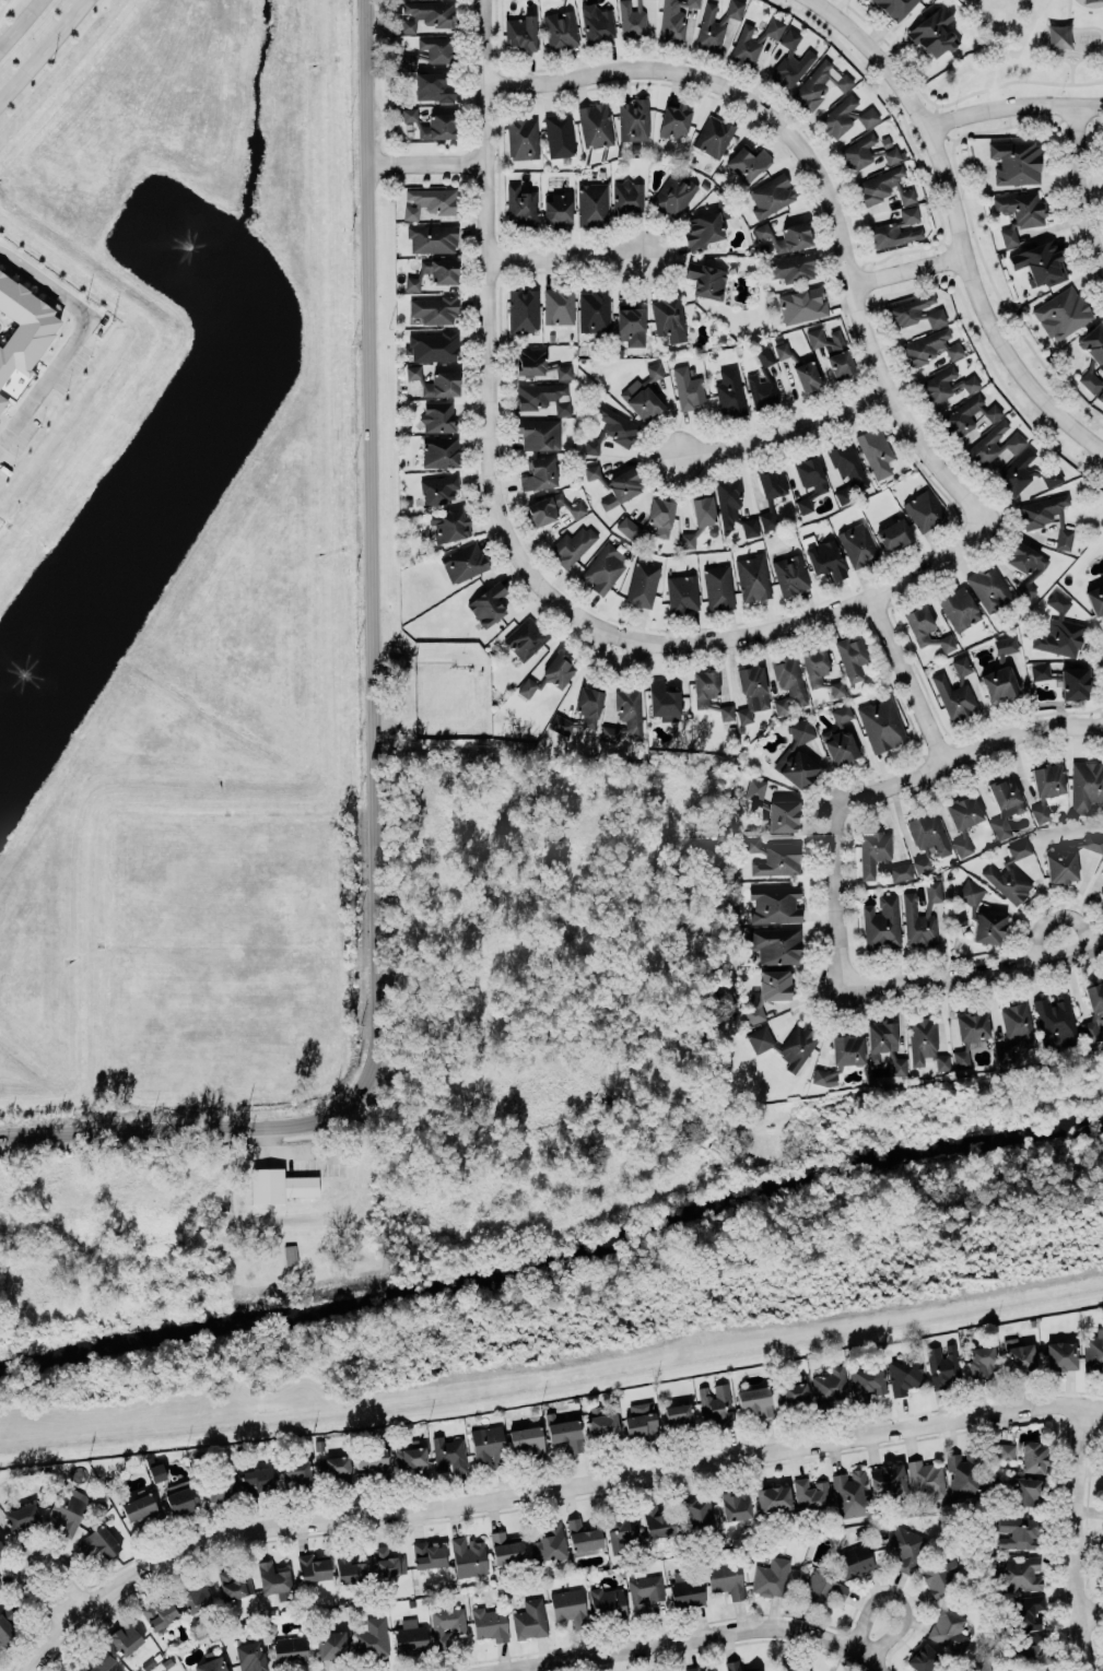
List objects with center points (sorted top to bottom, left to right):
road: (3, 5)
building: (895, 7)
road: (1068, 12)
building: (425, 14)
building: (632, 19)
building: (673, 20)
building: (598, 22)
road: (19, 23)
building: (715, 23)
road: (1046, 26)
building: (561, 27)
building: (932, 28)
building: (520, 32)
building: (754, 39)
building: (436, 48)
road: (43, 49)
road: (1072, 52)
road: (900, 54)
road: (1087, 56)
building: (408, 61)
building: (790, 62)
road: (1072, 73)
road: (1017, 80)
building: (820, 83)
building: (433, 85)
road: (1016, 109)
building: (846, 115)
building: (676, 118)
building: (633, 119)
building: (595, 125)
building: (559, 134)
building: (714, 134)
building: (523, 136)
building: (865, 151)
building: (1016, 160)
road: (425, 162)
building: (748, 162)
road: (821, 183)
building: (882, 186)
road: (1077, 189)
building: (673, 192)
building: (771, 193)
building: (627, 196)
building: (429, 201)
building: (592, 203)
building: (520, 205)
building: (559, 207)
building: (1020, 211)
building: (908, 214)
road: (958, 223)
building: (703, 230)
building: (785, 234)
building: (892, 234)
building: (433, 237)
road: (941, 238)
fountain: (190, 245)
road: (566, 257)
building: (1040, 263)
building: (793, 267)
road: (906, 268)
building: (434, 271)
road: (490, 279)
building: (706, 280)
building: (802, 304)
building: (559, 305)
building: (523, 308)
building: (434, 309)
building: (594, 309)
building: (916, 311)
building: (1063, 311)
building: (668, 318)
building: (22, 320)
building: (632, 323)
road: (69, 340)
building: (1093, 342)
building: (432, 345)
building: (930, 346)
building: (782, 350)
building: (838, 353)
building: (539, 364)
building: (412, 372)
building: (807, 376)
building: (762, 380)
building: (1090, 380)
building: (970, 383)
building: (442, 385)
building: (937, 386)
building: (688, 387)
building: (644, 391)
building: (729, 392)
building: (1, 395)
building: (542, 396)
building: (1101, 396)
building: (438, 416)
building: (966, 416)
road: (786, 427)
building: (611, 429)
building: (539, 434)
building: (994, 443)
building: (876, 450)
building: (441, 451)
building: (846, 468)
building: (539, 472)
building: (1025, 472)
building: (809, 479)
building: (617, 480)
building: (438, 487)
building: (771, 492)
building: (734, 504)
building: (552, 506)
building: (924, 509)
building: (1041, 510)
building: (700, 517)
building: (652, 518)
building: (450, 526)
building: (894, 531)
building: (1063, 537)
building: (573, 544)
building: (858, 544)
building: (1025, 557)
building: (825, 558)
building: (464, 561)
building: (603, 568)
building: (790, 574)
building: (753, 576)
building: (642, 583)
building: (719, 586)
building: (988, 588)
building: (1025, 590)
building: (682, 591)
building: (1096, 597)
building: (488, 604)
building: (959, 607)
building: (919, 623)
building: (1059, 628)
road: (753, 633)
building: (525, 635)
building: (947, 643)
building: (1006, 645)
building: (852, 655)
building: (820, 669)
fountain: (25, 673)
building: (551, 673)
road: (907, 678)
building: (1064, 678)
building: (788, 683)
building: (998, 683)
building: (955, 689)
building: (709, 691)
building: (751, 692)
building: (664, 698)
building: (580, 709)
building: (625, 714)
building: (881, 723)
road: (374, 732)
building: (840, 737)
road: (967, 749)
building: (797, 753)
building: (1046, 784)
building: (1087, 784)
building: (772, 803)
building: (1004, 804)
building: (964, 810)
building: (1102, 822)
building: (927, 837)
building: (752, 844)
building: (962, 847)
building: (880, 855)
building: (777, 859)
building: (1069, 859)
building: (1102, 859)
building: (1010, 874)
road: (838, 891)
building: (1101, 892)
building: (775, 904)
road: (1057, 910)
building: (922, 914)
building: (983, 914)
building: (882, 921)
building: (776, 944)
road: (979, 967)
building: (770, 989)
building: (1094, 1010)
building: (1055, 1022)
building: (972, 1024)
building: (1016, 1028)
building: (922, 1039)
building: (785, 1044)
building: (884, 1044)
building: (846, 1049)
building: (961, 1059)
building: (941, 1061)
building: (823, 1076)
building: (279, 1185)
building: (290, 1254)
river: (556, 1257)
building: (1060, 1355)
building: (1020, 1356)
building: (983, 1361)
building: (942, 1365)
building: (904, 1373)
road: (553, 1374)
building: (867, 1381)
building: (830, 1386)
building: (795, 1390)
building: (756, 1400)
building: (716, 1404)
building: (678, 1415)
building: (601, 1423)
building: (641, 1425)
building: (565, 1429)
building: (528, 1438)
building: (488, 1444)
building: (1005, 1450)
building: (449, 1452)
building: (371, 1456)
building: (1033, 1457)
building: (410, 1458)
building: (337, 1463)
building: (156, 1470)
building: (965, 1473)
building: (296, 1474)
building: (926, 1476)
building: (889, 1479)
building: (257, 1480)
building: (221, 1486)
road: (542, 1488)
building: (1024, 1491)
building: (850, 1493)
building: (810, 1494)
building: (773, 1497)
building: (181, 1498)
building: (736, 1505)
building: (139, 1506)
building: (69, 1509)
building: (697, 1513)
building: (21, 1516)
building: (658, 1521)
building: (1017, 1532)
building: (623, 1533)
road: (1082, 1537)
building: (583, 1538)
building: (99, 1540)
building: (550, 1542)
building: (1, 1544)
building: (905, 1545)
building: (506, 1546)
building: (429, 1554)
building: (468, 1555)
building: (1102, 1555)
road: (28, 1561)
building: (855, 1561)
building: (387, 1562)
building: (313, 1566)
building: (350, 1568)
building: (1020, 1573)
building: (726, 1576)
building: (771, 1576)
building: (941, 1576)
building: (272, 1577)
building: (234, 1584)
building: (687, 1589)
building: (822, 1589)
building: (645, 1591)
building: (196, 1596)
road: (897, 1597)
building: (607, 1602)
building: (568, 1607)
road: (1095, 1610)
building: (1028, 1611)
building: (160, 1612)
building: (529, 1619)
building: (491, 1623)
building: (445, 1625)
building: (8, 1626)
building: (950, 1629)
building: (410, 1636)
building: (126, 1637)
building: (372, 1637)
road: (680, 1639)
building: (332, 1644)
building: (290, 1649)
building: (1030, 1652)
building: (250, 1656)
building: (101, 1658)
building: (923, 1658)
building: (211, 1664)
building: (732, 1664)
road: (880, 1664)
building: (697, 1669)
building: (791, 1669)
building: (754, 1670)
building: (1046, 1670)

